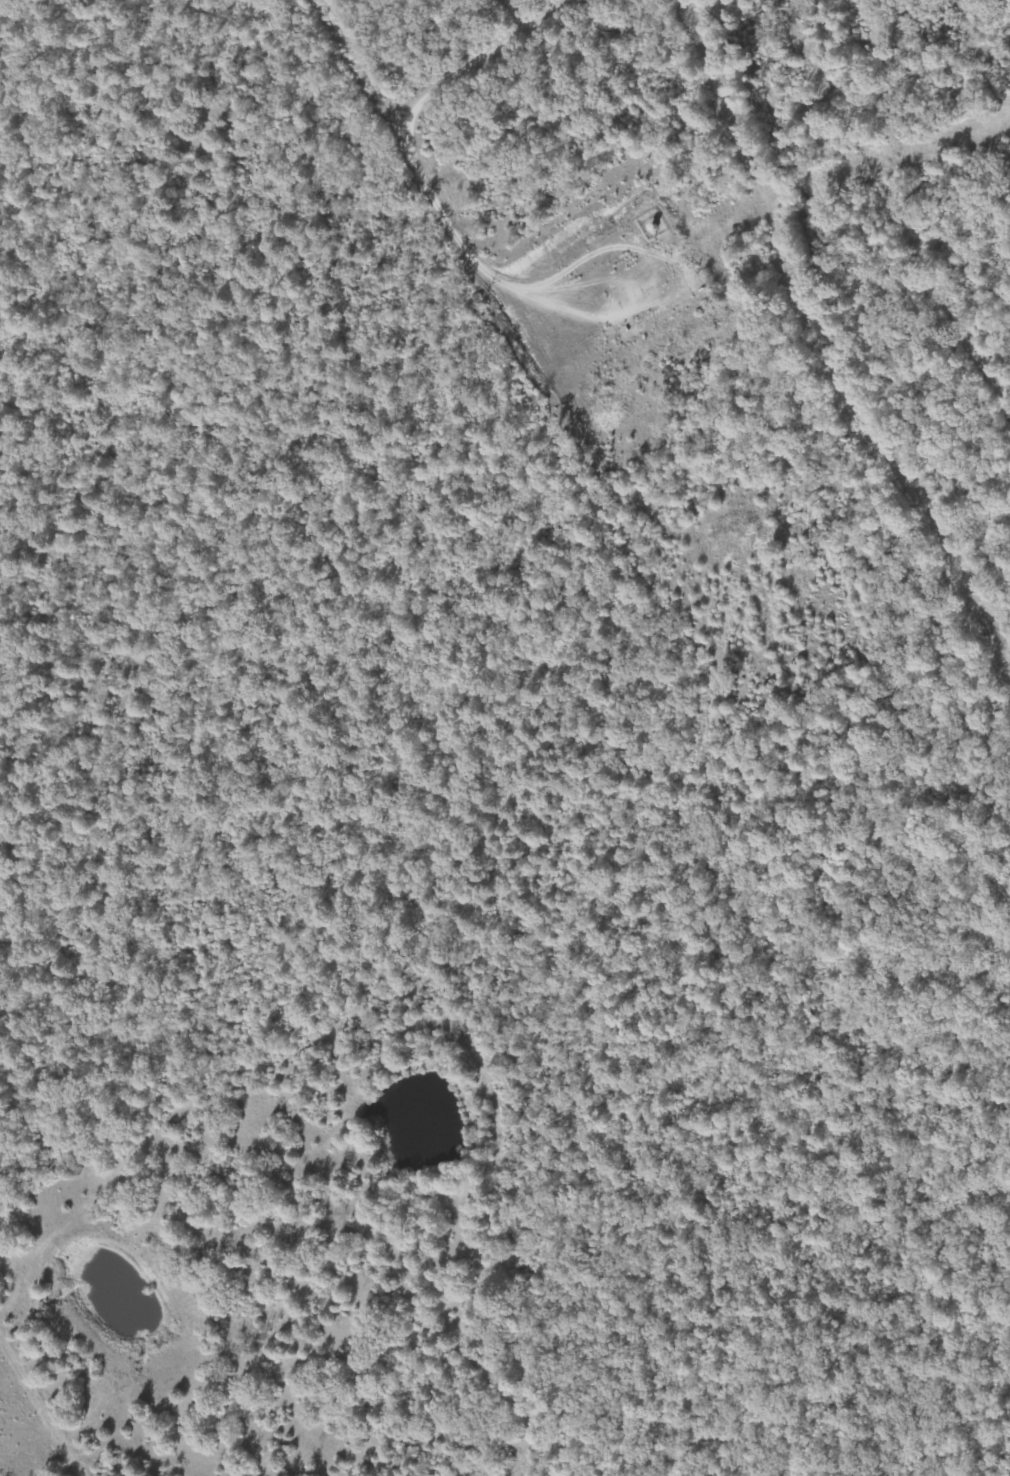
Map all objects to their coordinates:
road: (468, 112)
road: (865, 301)

